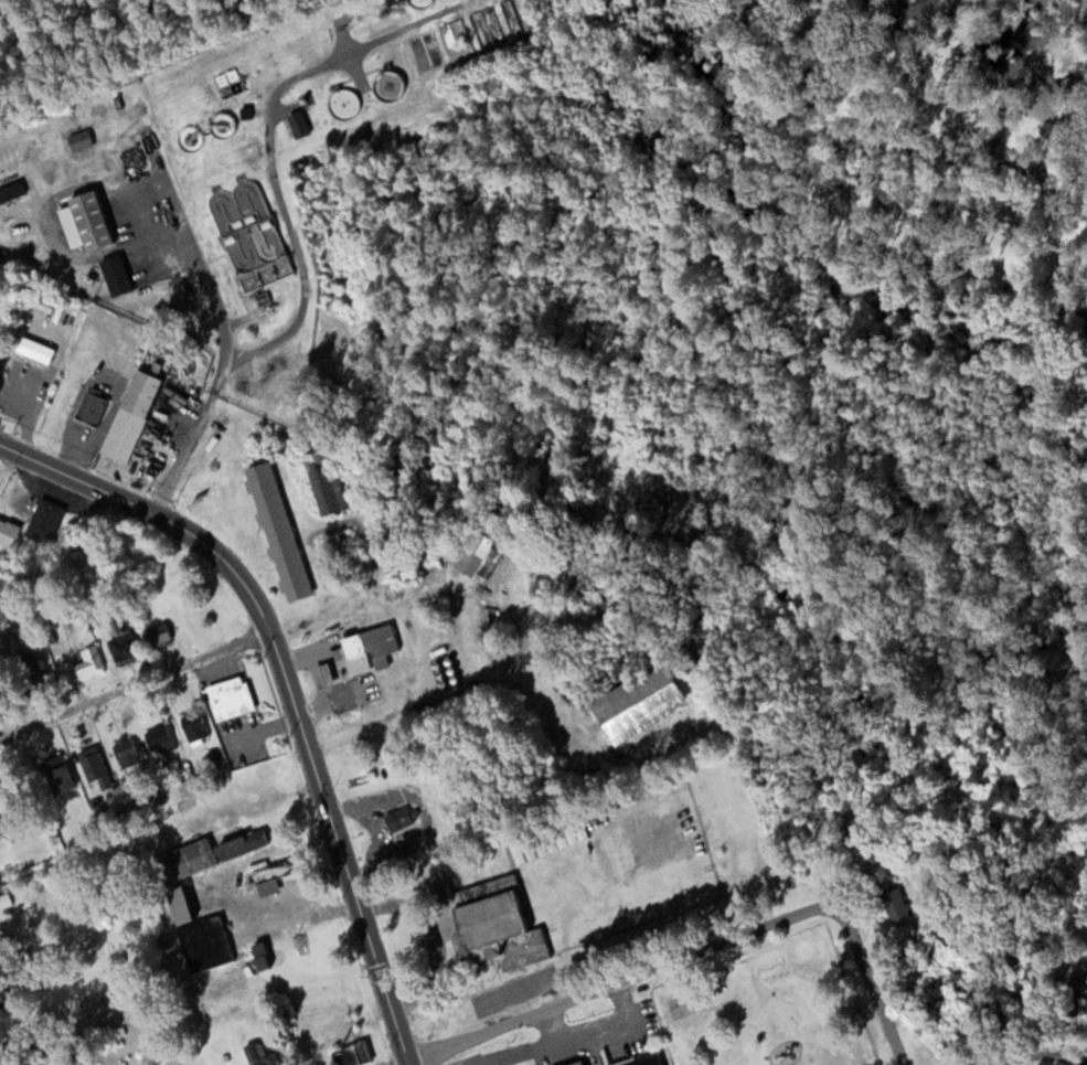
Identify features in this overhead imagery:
building: (295, 124)
building: (78, 139)
road: (273, 156)
wastewater plant: (236, 163)
building: (84, 221)
building: (256, 241)
building: (115, 275)
road: (219, 319)
building: (89, 407)
building: (129, 415)
building: (324, 483)
building: (43, 520)
building: (8, 531)
building: (277, 531)
building: (348, 552)
building: (158, 635)
building: (125, 648)
building: (367, 648)
building: (88, 662)
building: (29, 673)
building: (320, 674)
road: (136, 683)
road: (289, 684)
building: (227, 699)
building: (638, 703)
building: (193, 726)
building: (159, 739)
building: (125, 749)
building: (93, 766)
building: (55, 774)
building: (396, 819)
building: (547, 838)
building: (684, 848)
building: (180, 862)
building: (690, 872)
building: (265, 882)
building: (895, 902)
building: (177, 905)
building: (488, 923)
building: (257, 957)
road: (632, 978)
building: (6, 992)
road: (883, 1000)
building: (350, 1054)
road: (1030, 1057)
building: (641, 1061)
building: (578, 1063)

